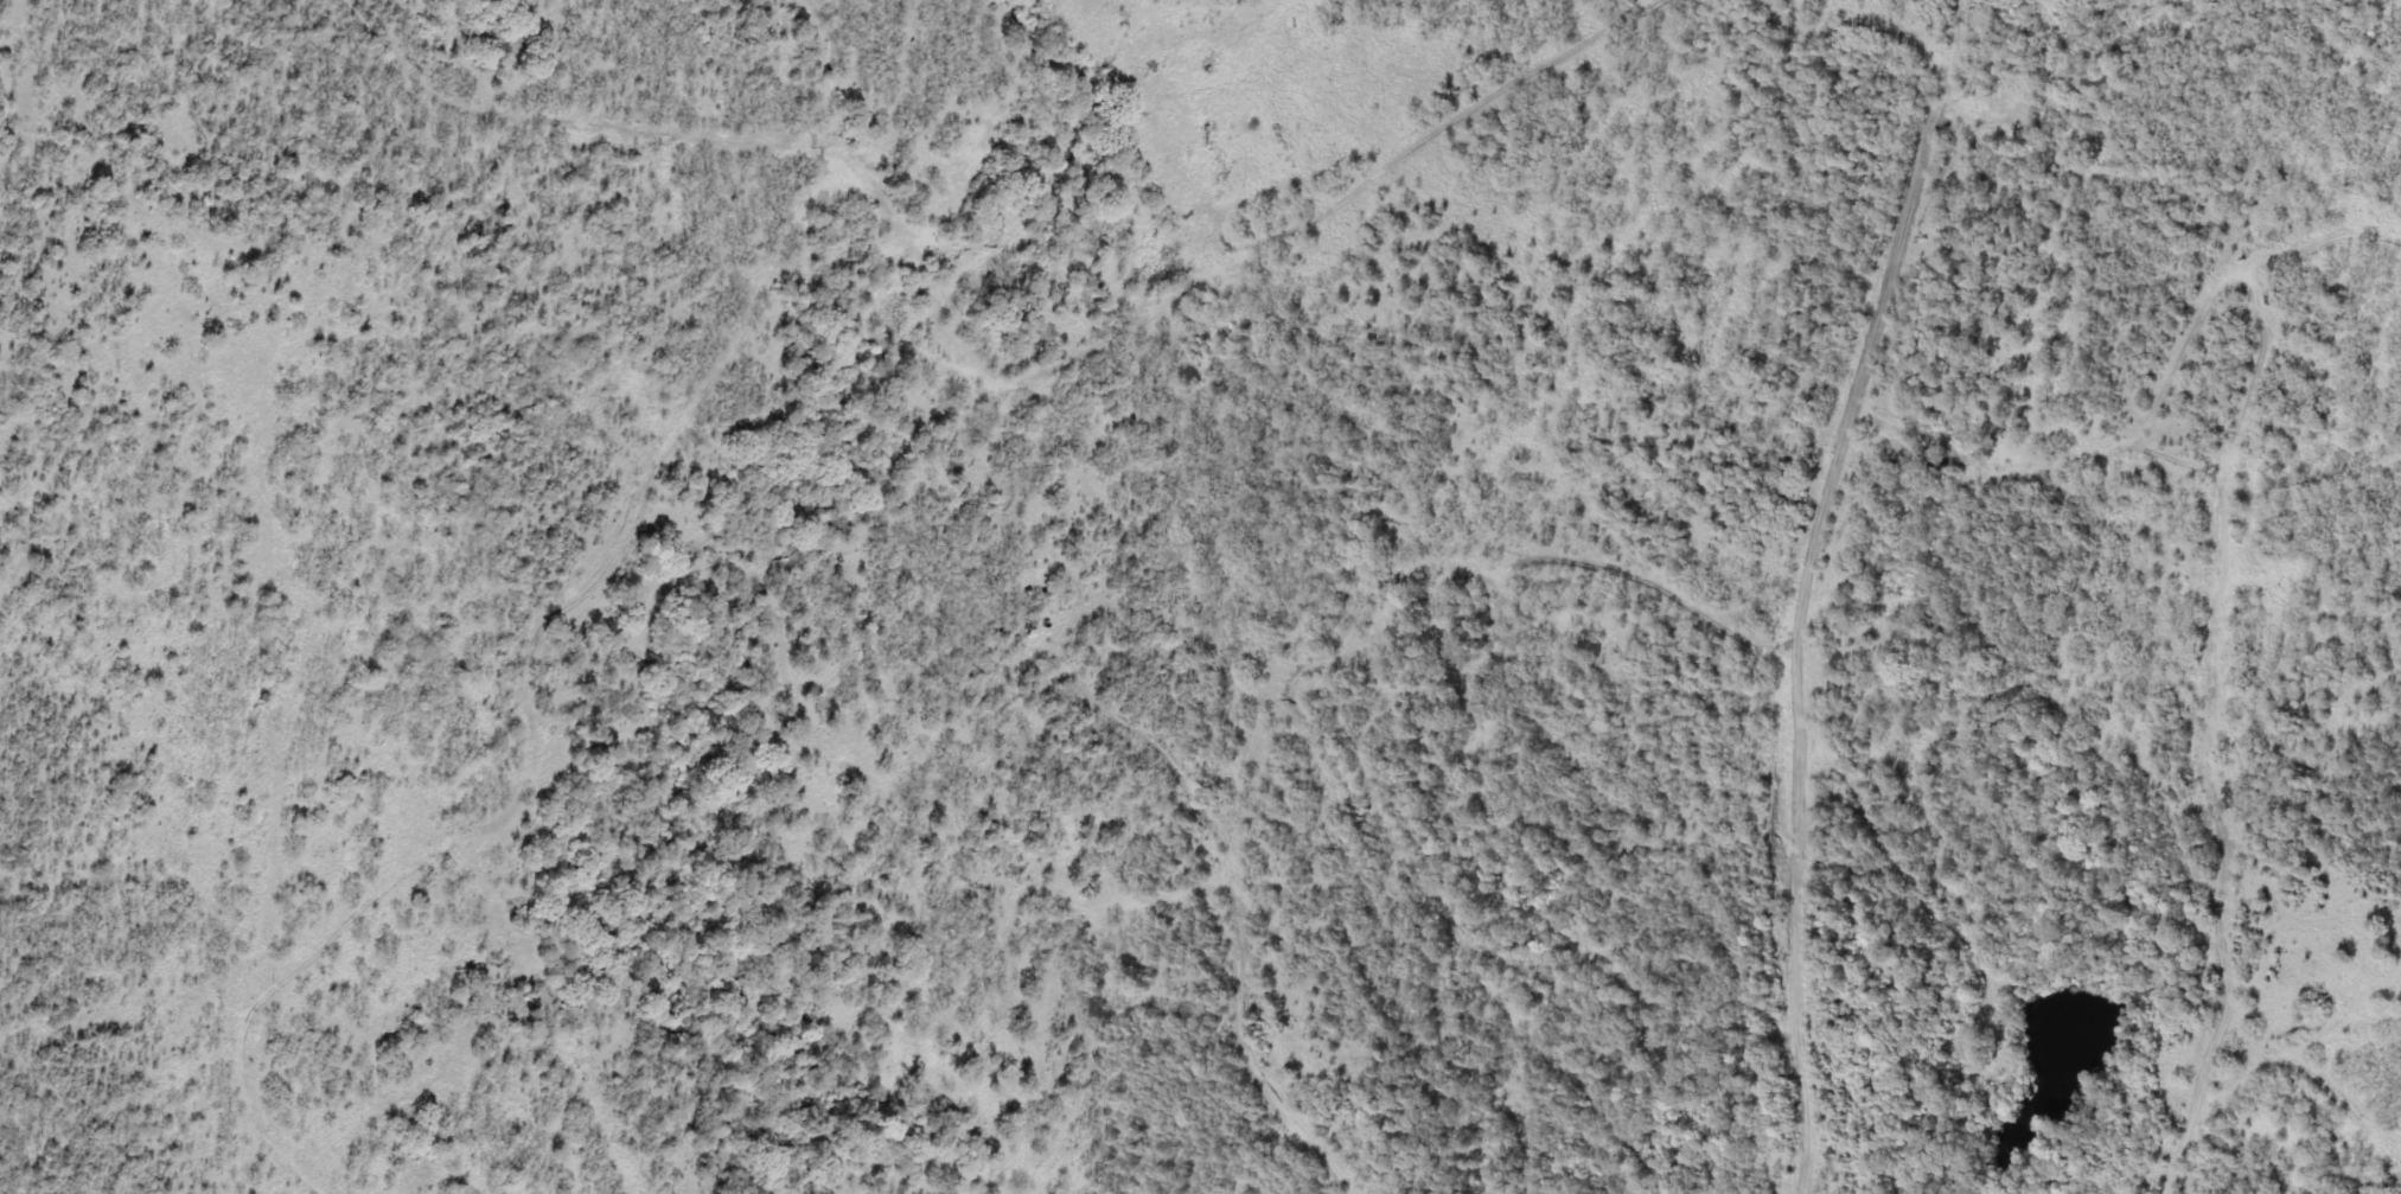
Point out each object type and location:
road: (1805, 587)
road: (1665, 592)
road: (2217, 653)
road: (1083, 691)
road: (1162, 902)
road: (250, 964)
road: (2335, 1030)
road: (2294, 1061)
road: (2396, 1137)

